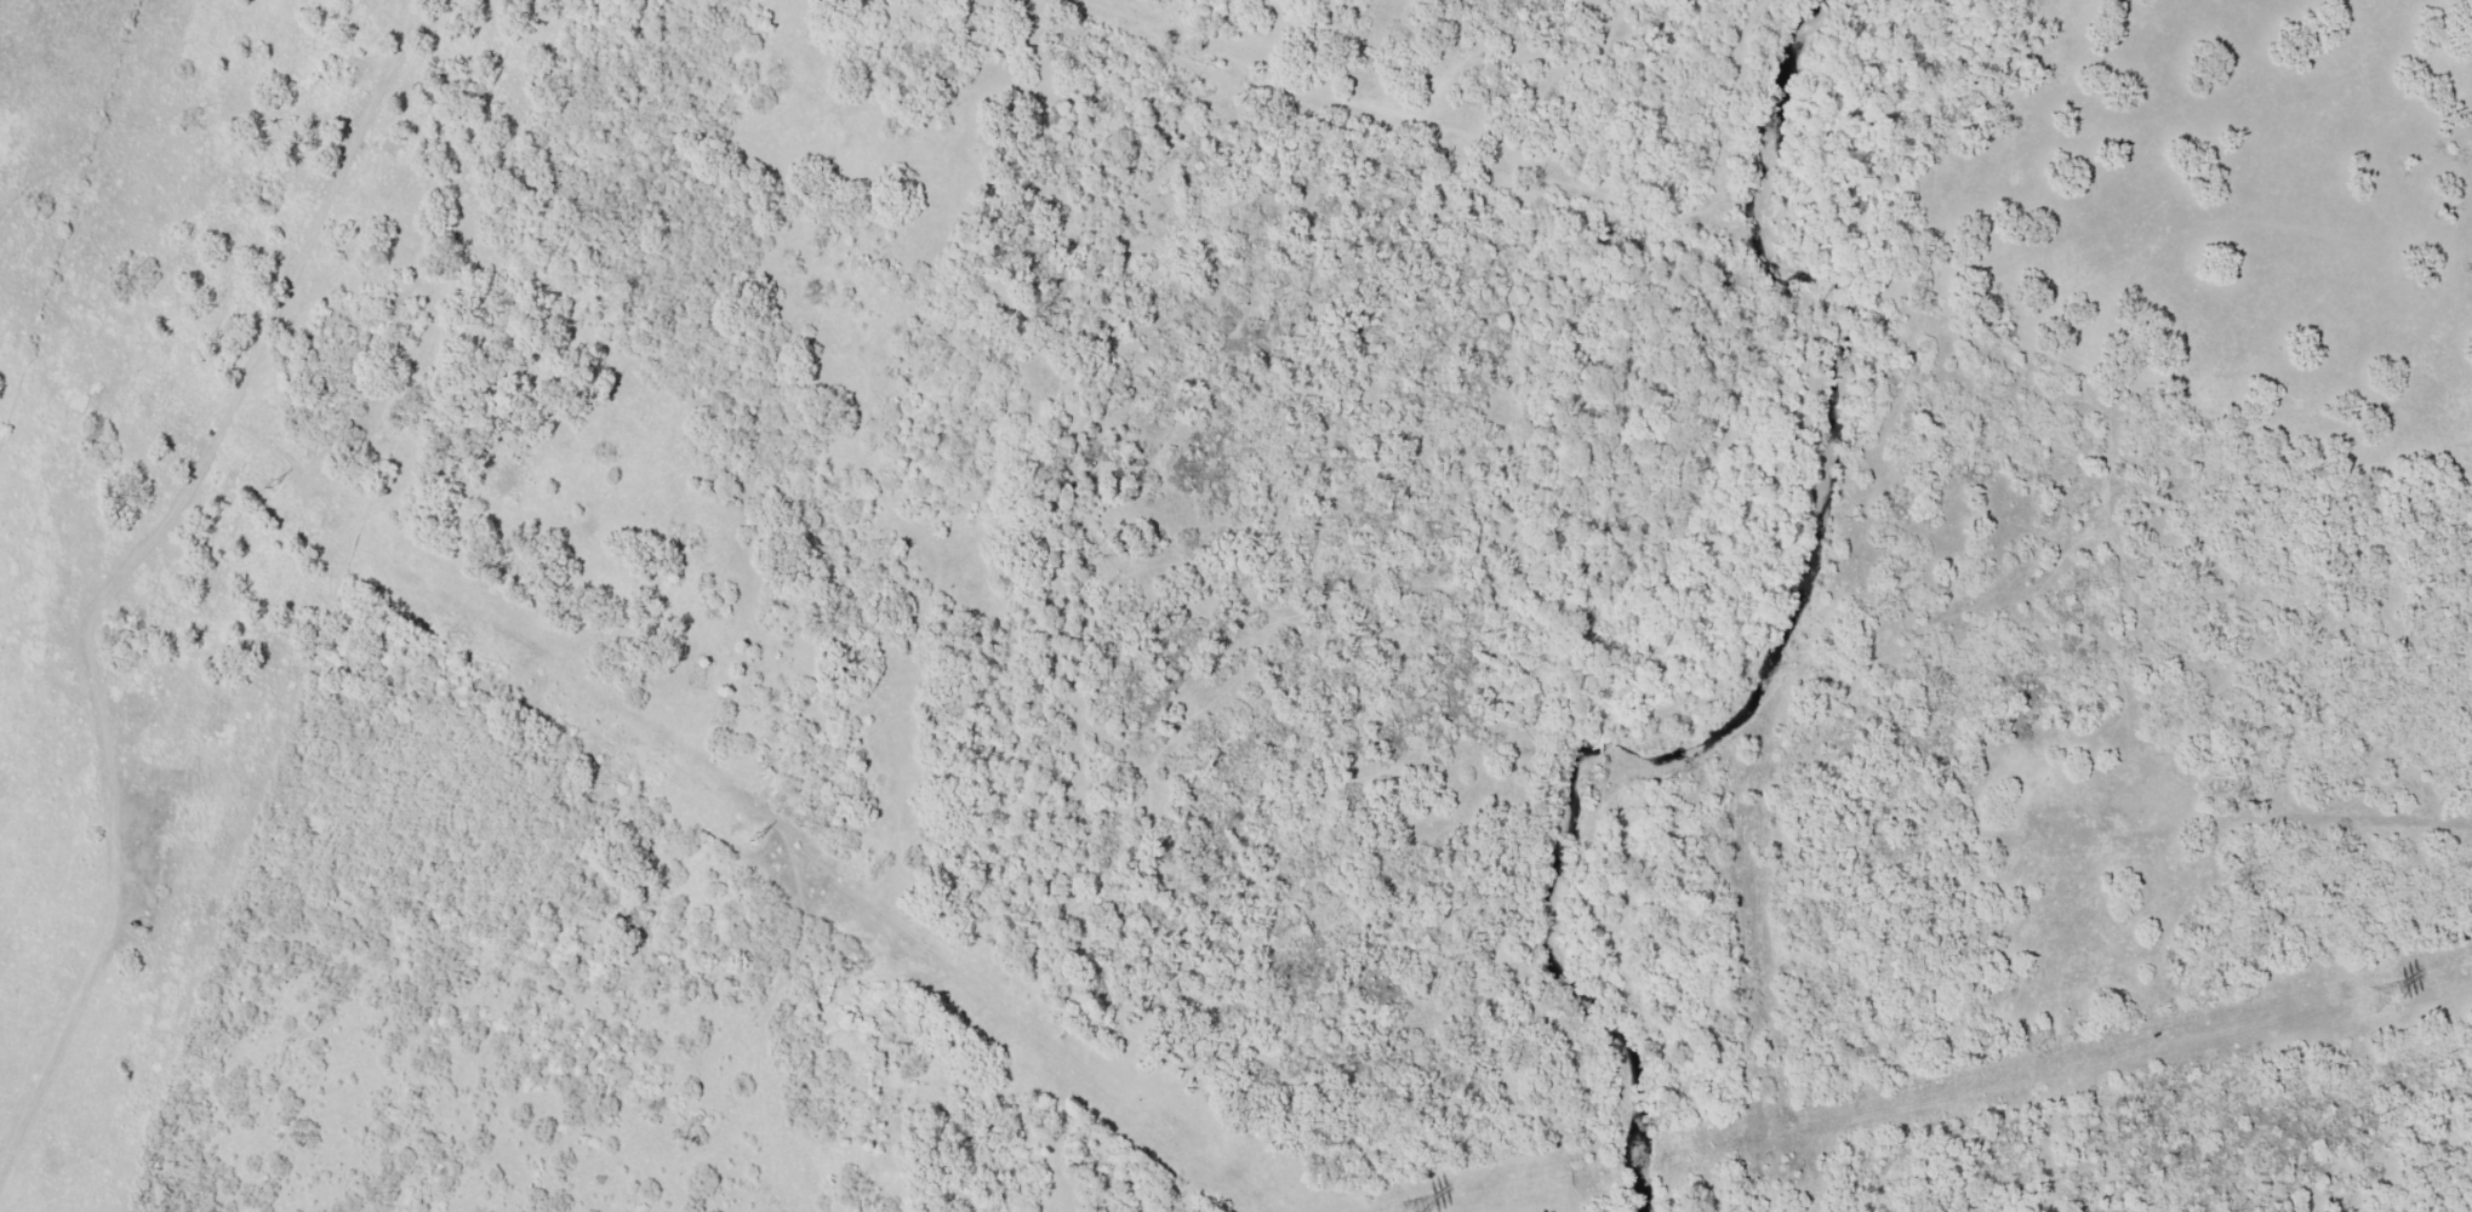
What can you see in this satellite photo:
power tower: (270, 485)
power tower: (753, 839)
power tower: (2381, 997)

